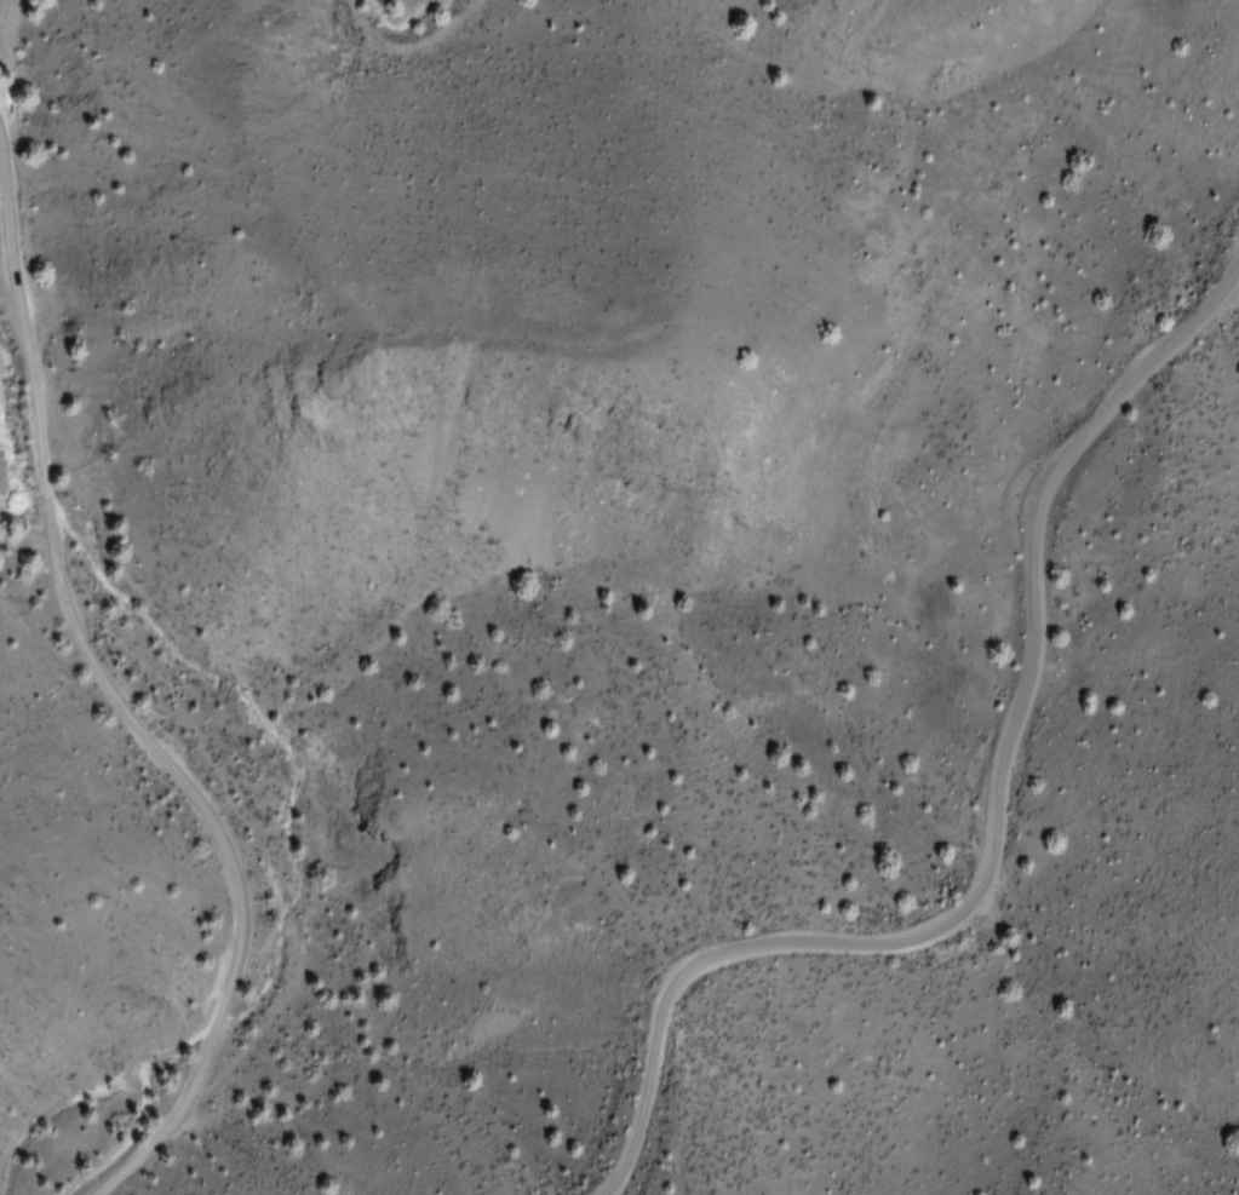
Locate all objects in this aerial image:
road: (122, 703)
road: (994, 818)

